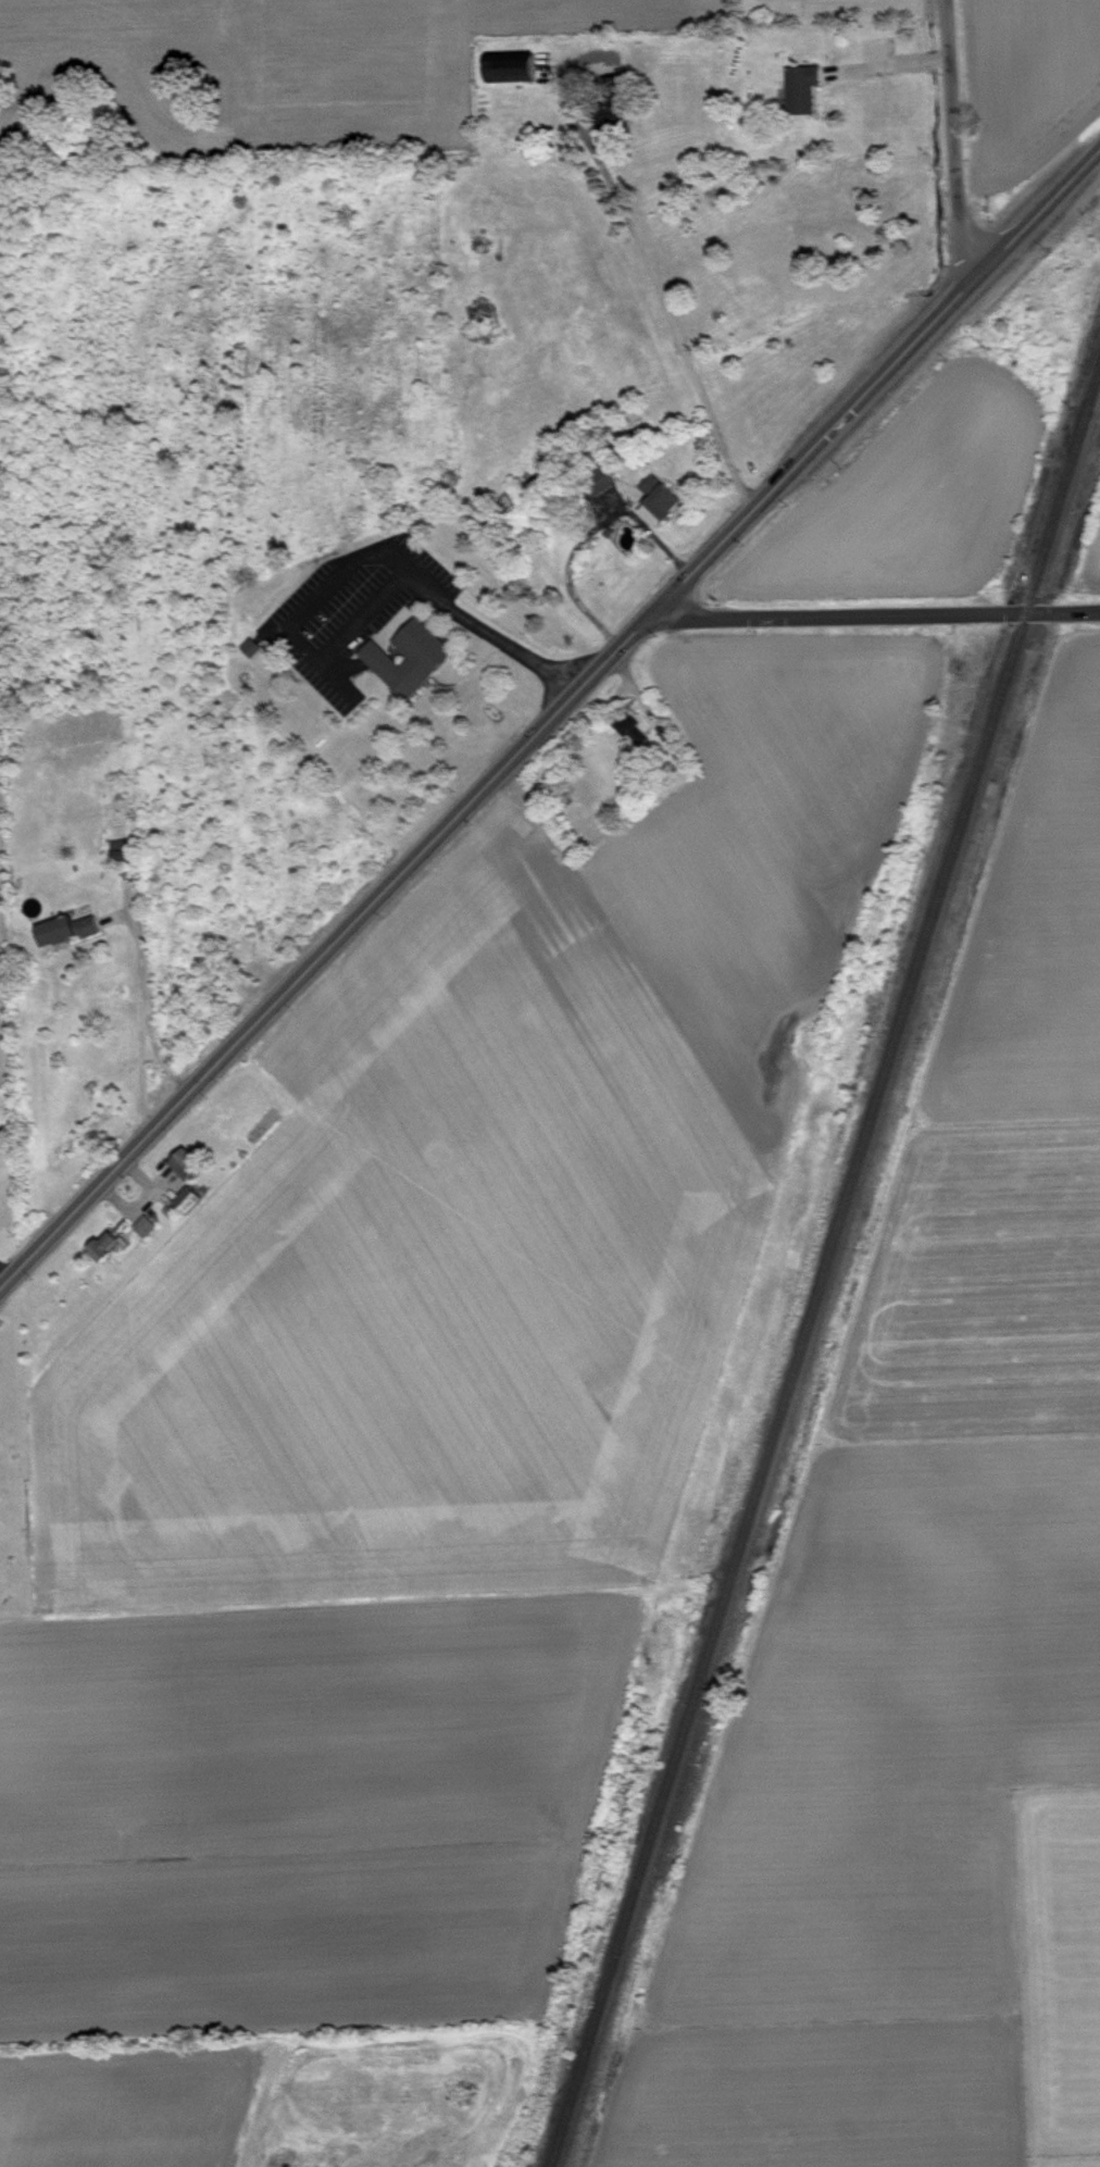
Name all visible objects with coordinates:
road: (896, 70)
building: (520, 71)
building: (810, 91)
building: (621, 116)
road: (957, 147)
road: (666, 292)
building: (666, 505)
road: (595, 538)
road: (877, 615)
road: (276, 633)
road: (293, 638)
road: (500, 639)
road: (392, 644)
building: (259, 650)
building: (418, 661)
road: (479, 670)
road: (345, 686)
road: (552, 724)
building: (640, 734)
building: (132, 854)
building: (74, 933)
road: (137, 1025)
building: (192, 1166)
building: (195, 1204)
building: (152, 1230)
building: (112, 1248)
railway: (825, 1271)

